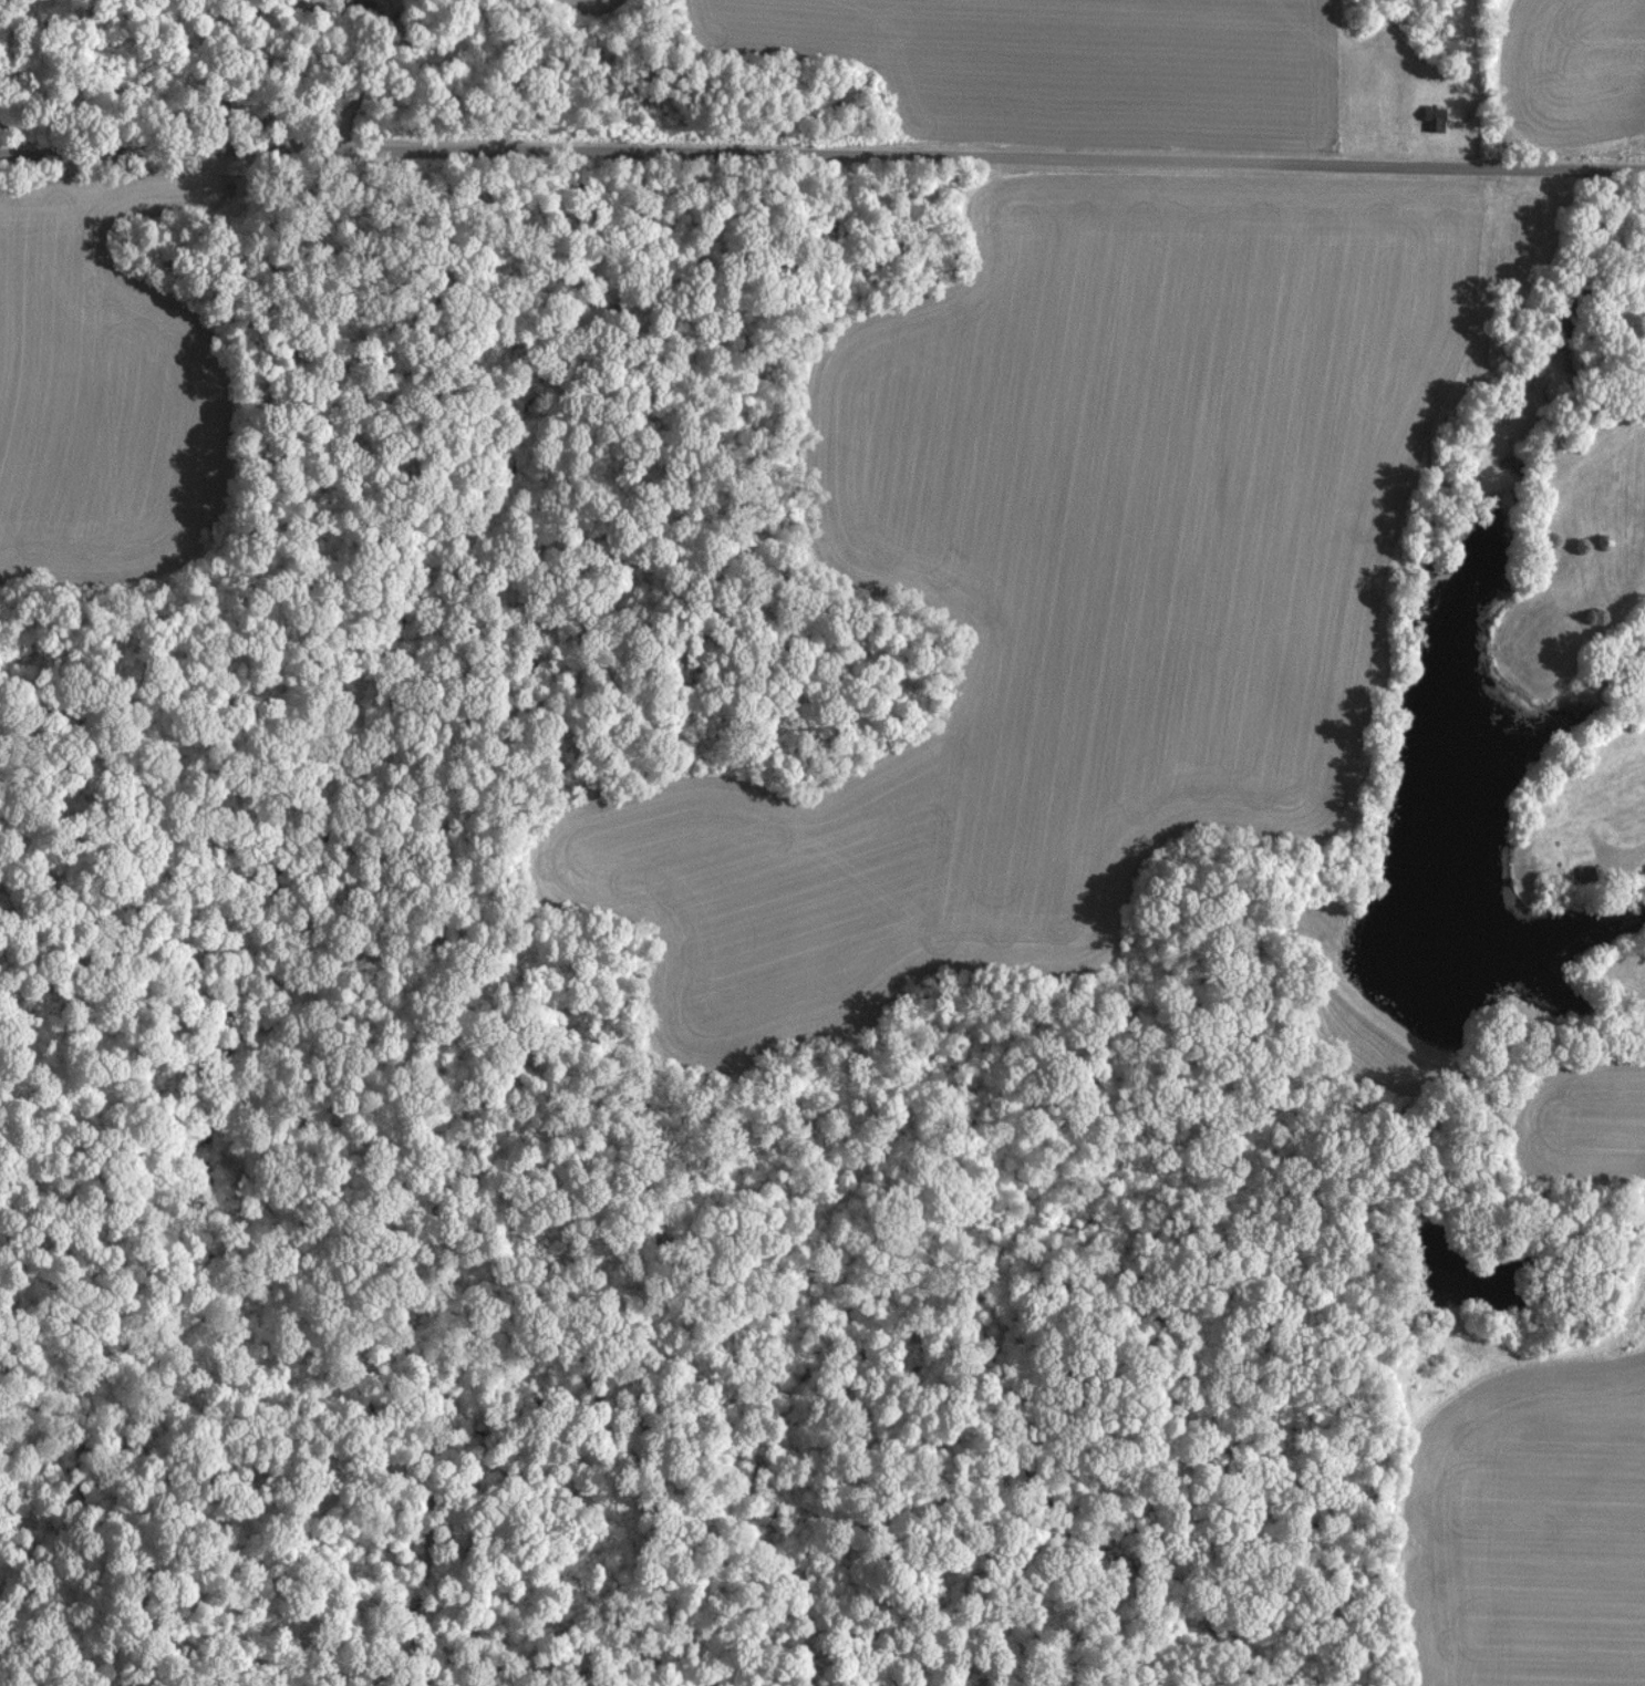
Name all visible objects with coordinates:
road: (822, 145)

